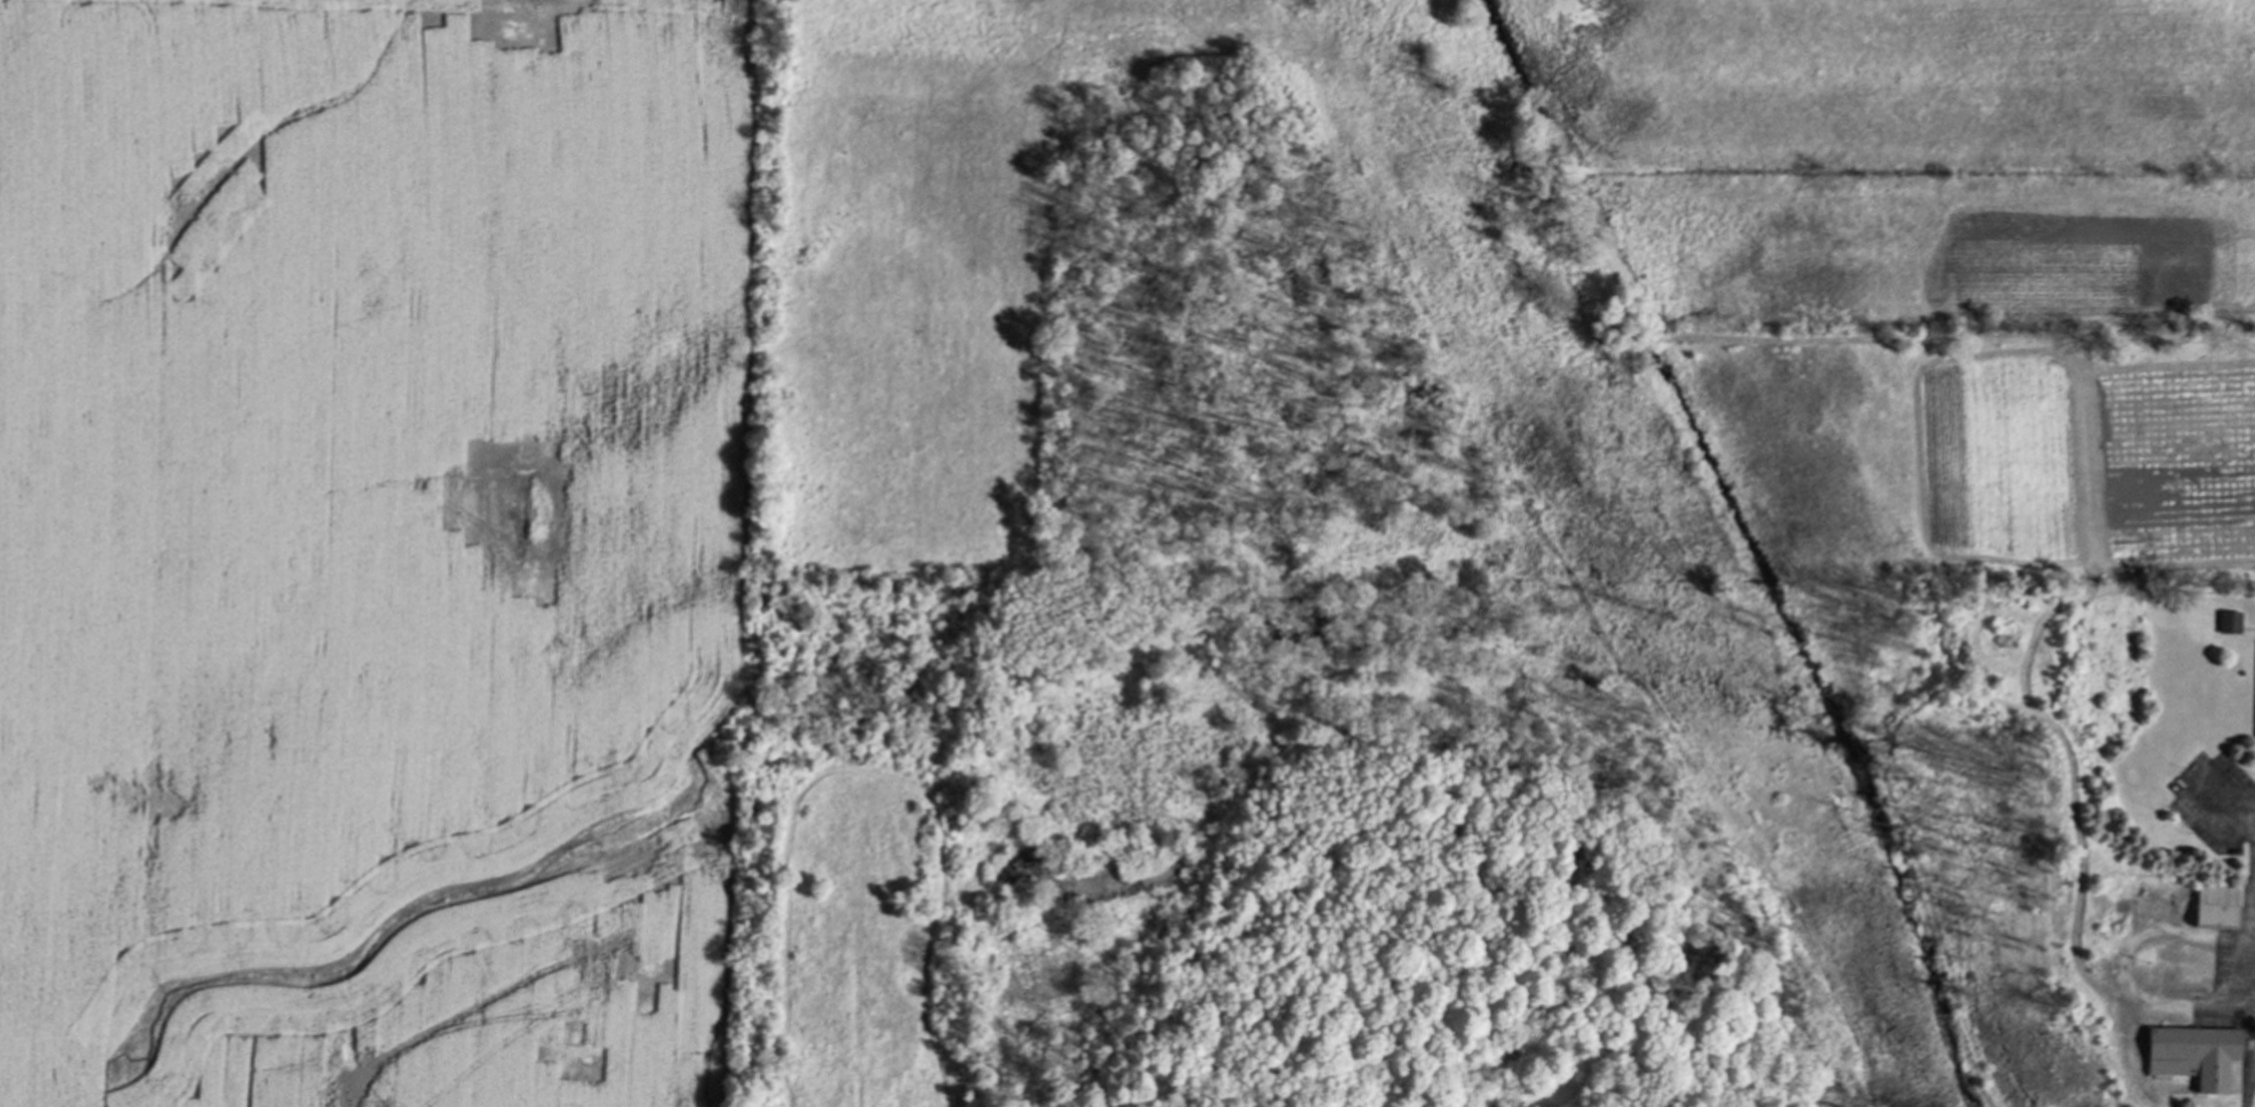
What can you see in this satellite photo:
crop: (372, 548)
power tower: (1658, 613)
building: (2227, 621)
road: (2253, 893)
building: (2192, 1053)

